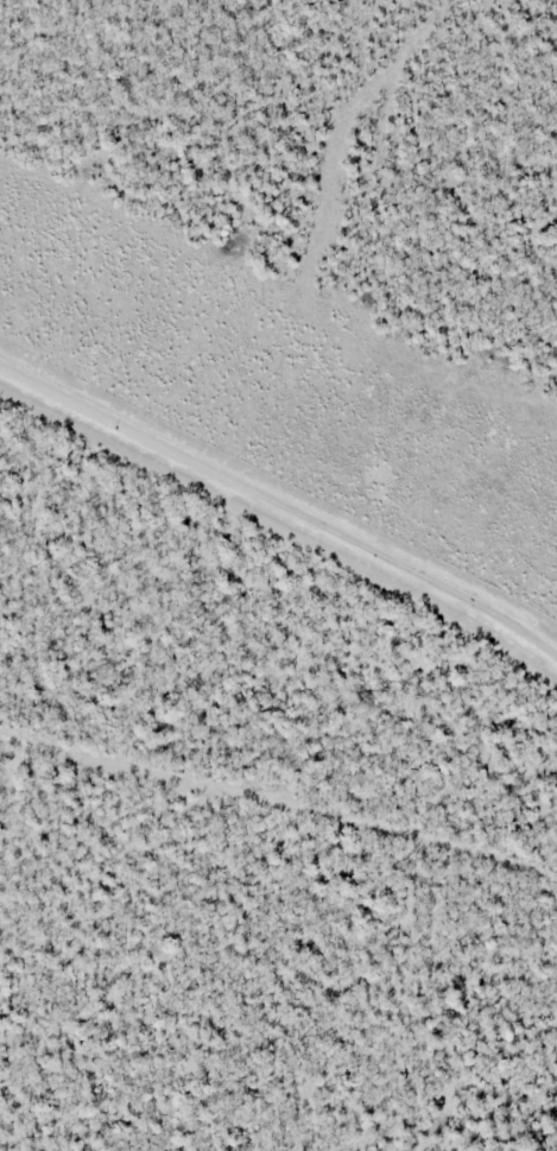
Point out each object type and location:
road: (280, 499)

